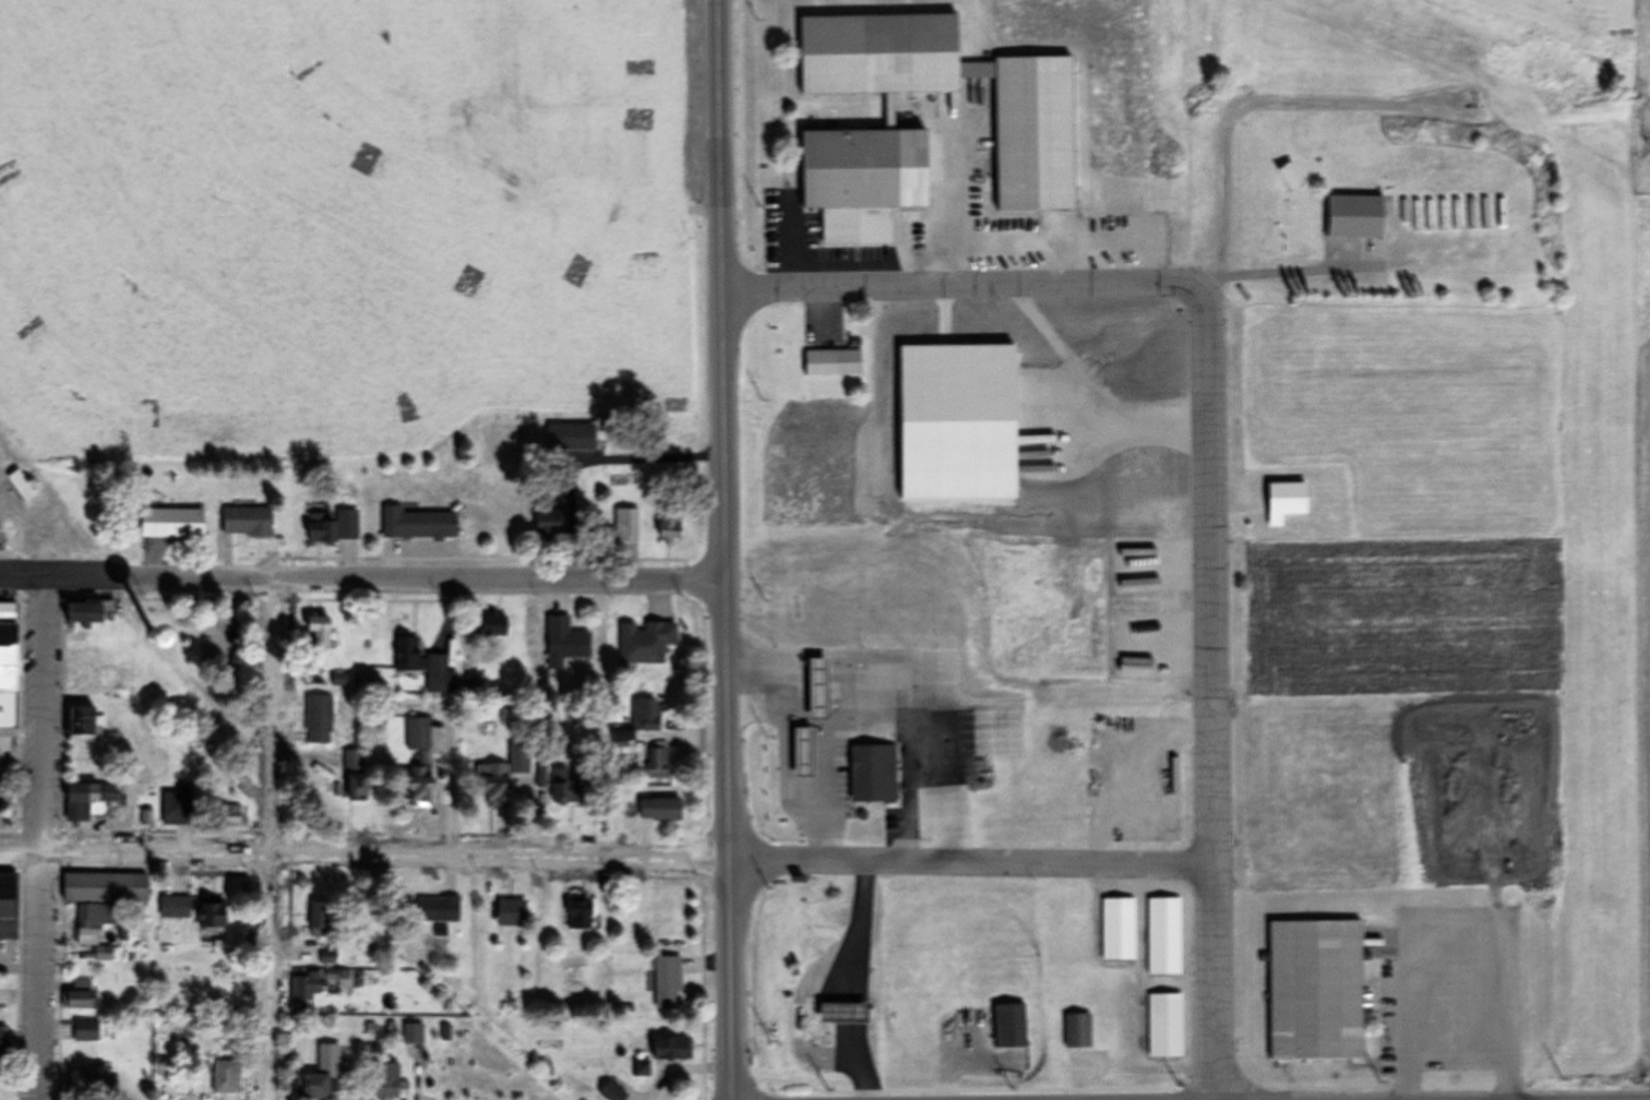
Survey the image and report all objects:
building: (1033, 152)
building: (863, 169)
building: (1354, 216)
road: (720, 232)
road: (961, 284)
building: (833, 362)
building: (571, 438)
building: (21, 486)
building: (1284, 501)
building: (247, 522)
building: (550, 522)
building: (171, 524)
building: (419, 525)
building: (626, 525)
building: (672, 525)
building: (333, 527)
road: (362, 577)
building: (82, 613)
building: (492, 626)
building: (318, 634)
building: (145, 641)
building: (564, 643)
building: (645, 643)
building: (423, 666)
park: (194, 670)
building: (7, 671)
building: (93, 671)
building: (476, 686)
road: (1209, 695)
road: (892, 714)
building: (319, 720)
building: (80, 721)
building: (636, 725)
building: (802, 753)
gas station: (802, 753)
building: (657, 763)
building: (419, 764)
building: (354, 765)
building: (872, 774)
building: (502, 776)
road: (729, 781)
road: (826, 787)
building: (565, 788)
building: (87, 801)
building: (176, 808)
building: (660, 810)
building: (230, 816)
road: (37, 836)
road: (274, 838)
road: (605, 858)
building: (104, 887)
building: (7, 906)
building: (175, 908)
building: (439, 909)
building: (578, 911)
building: (511, 912)
building: (210, 916)
building: (320, 919)
building: (94, 926)
building: (1119, 930)
building: (1164, 936)
building: (668, 982)
building: (304, 987)
building: (1316, 991)
building: (81, 996)
building: (833, 1011)
building: (1165, 1025)
building: (1011, 1026)
building: (86, 1030)
building: (1078, 1030)
building: (414, 1035)
building: (3, 1041)
building: (669, 1048)
building: (322, 1073)
building: (226, 1076)
building: (83, 1077)
building: (388, 1081)
building: (612, 1092)

